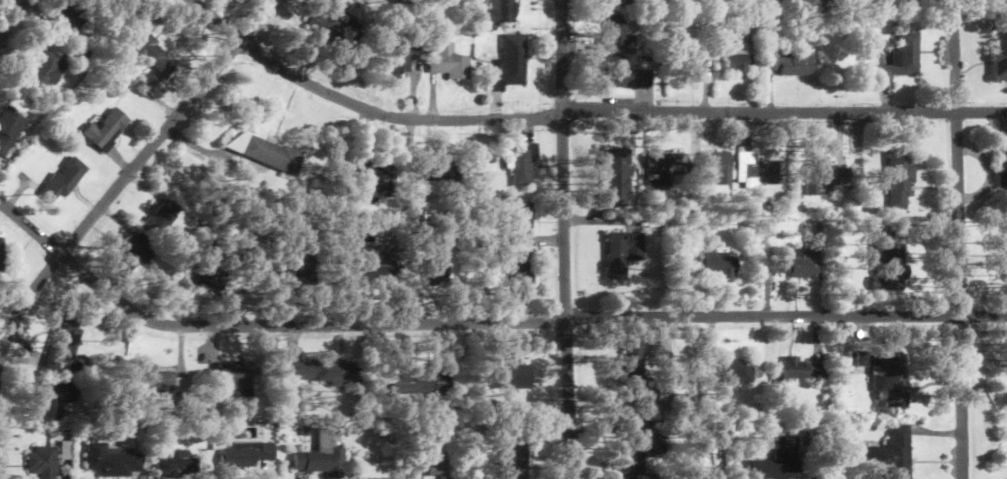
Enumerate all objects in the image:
building: (496, 13)
road: (10, 17)
building: (68, 22)
building: (335, 28)
building: (619, 32)
building: (999, 50)
building: (154, 57)
building: (736, 58)
building: (901, 58)
building: (694, 61)
building: (450, 62)
building: (511, 63)
building: (402, 64)
building: (790, 66)
building: (47, 67)
building: (626, 75)
road: (363, 108)
road: (784, 111)
building: (9, 128)
building: (107, 130)
building: (268, 152)
building: (1002, 160)
building: (525, 165)
building: (716, 166)
road: (131, 170)
building: (665, 170)
building: (758, 171)
building: (376, 173)
building: (826, 176)
building: (617, 177)
building: (434, 179)
building: (899, 179)
building: (64, 180)
building: (167, 219)
building: (522, 223)
road: (565, 239)
road: (959, 239)
building: (623, 252)
building: (136, 253)
building: (1006, 256)
building: (0, 258)
building: (791, 260)
building: (888, 262)
building: (714, 263)
building: (301, 265)
building: (501, 267)
building: (256, 269)
building: (381, 272)
building: (433, 272)
building: (205, 273)
building: (524, 275)
road: (786, 318)
road: (262, 324)
building: (62, 336)
building: (734, 371)
building: (322, 372)
building: (795, 372)
building: (634, 374)
building: (887, 374)
building: (233, 376)
building: (507, 377)
building: (157, 380)
building: (421, 381)
building: (290, 397)
building: (54, 399)
building: (639, 452)
building: (893, 453)
building: (245, 454)
building: (321, 456)
building: (515, 459)
building: (106, 461)
building: (42, 462)
building: (773, 463)
building: (179, 465)
building: (432, 466)

